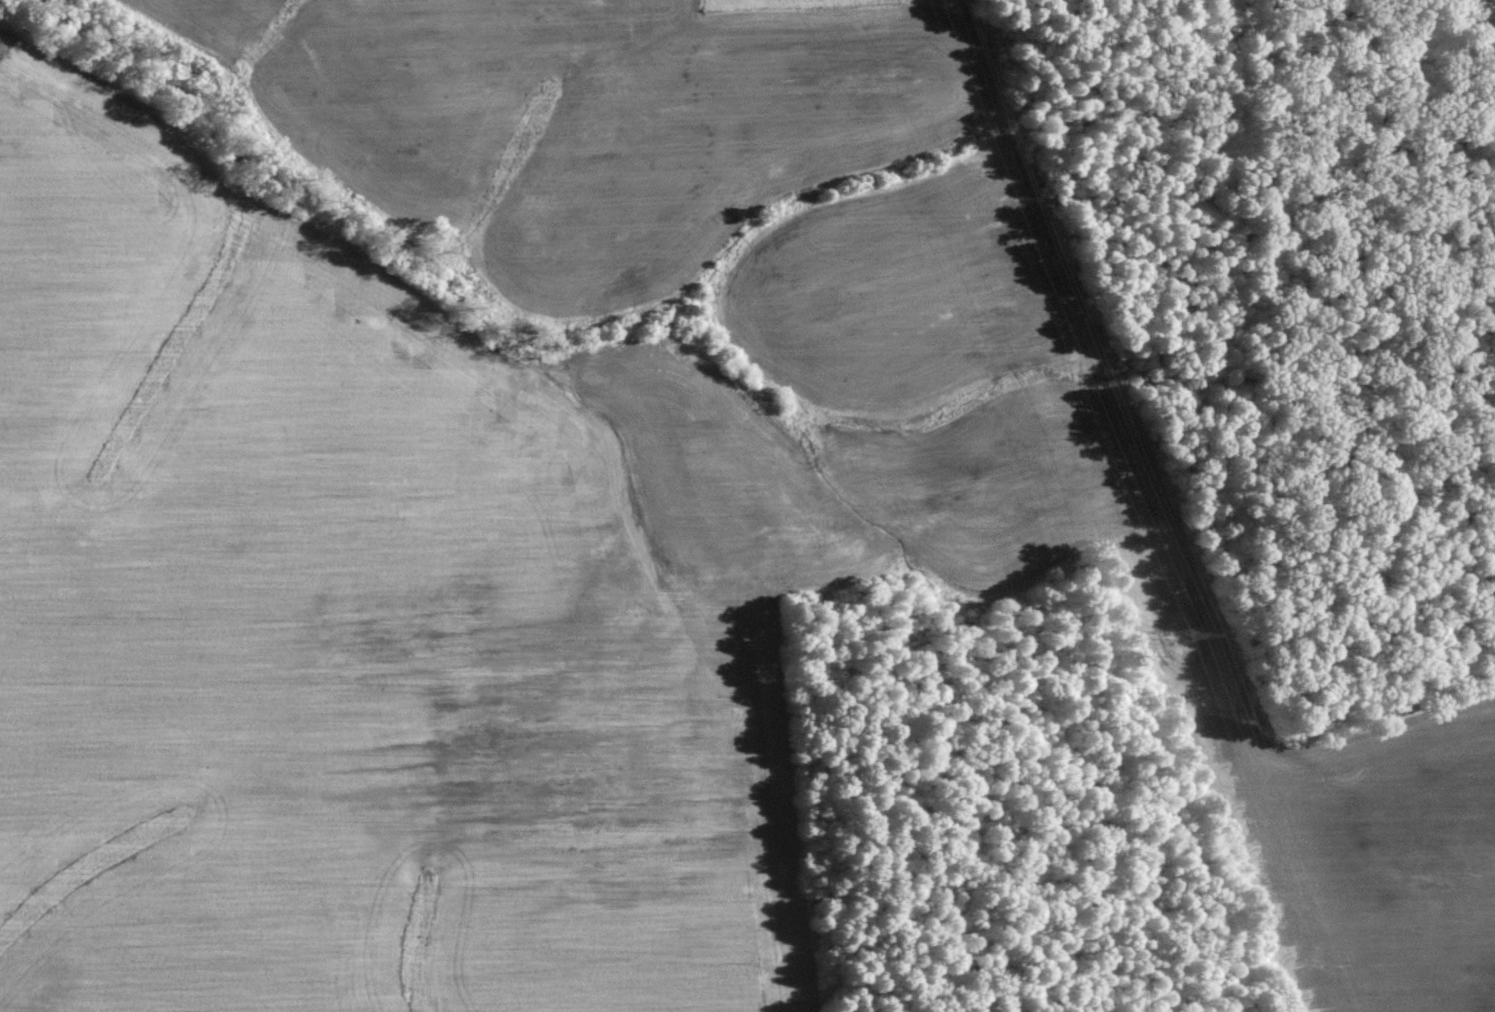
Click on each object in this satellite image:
power tower: (1178, 635)

